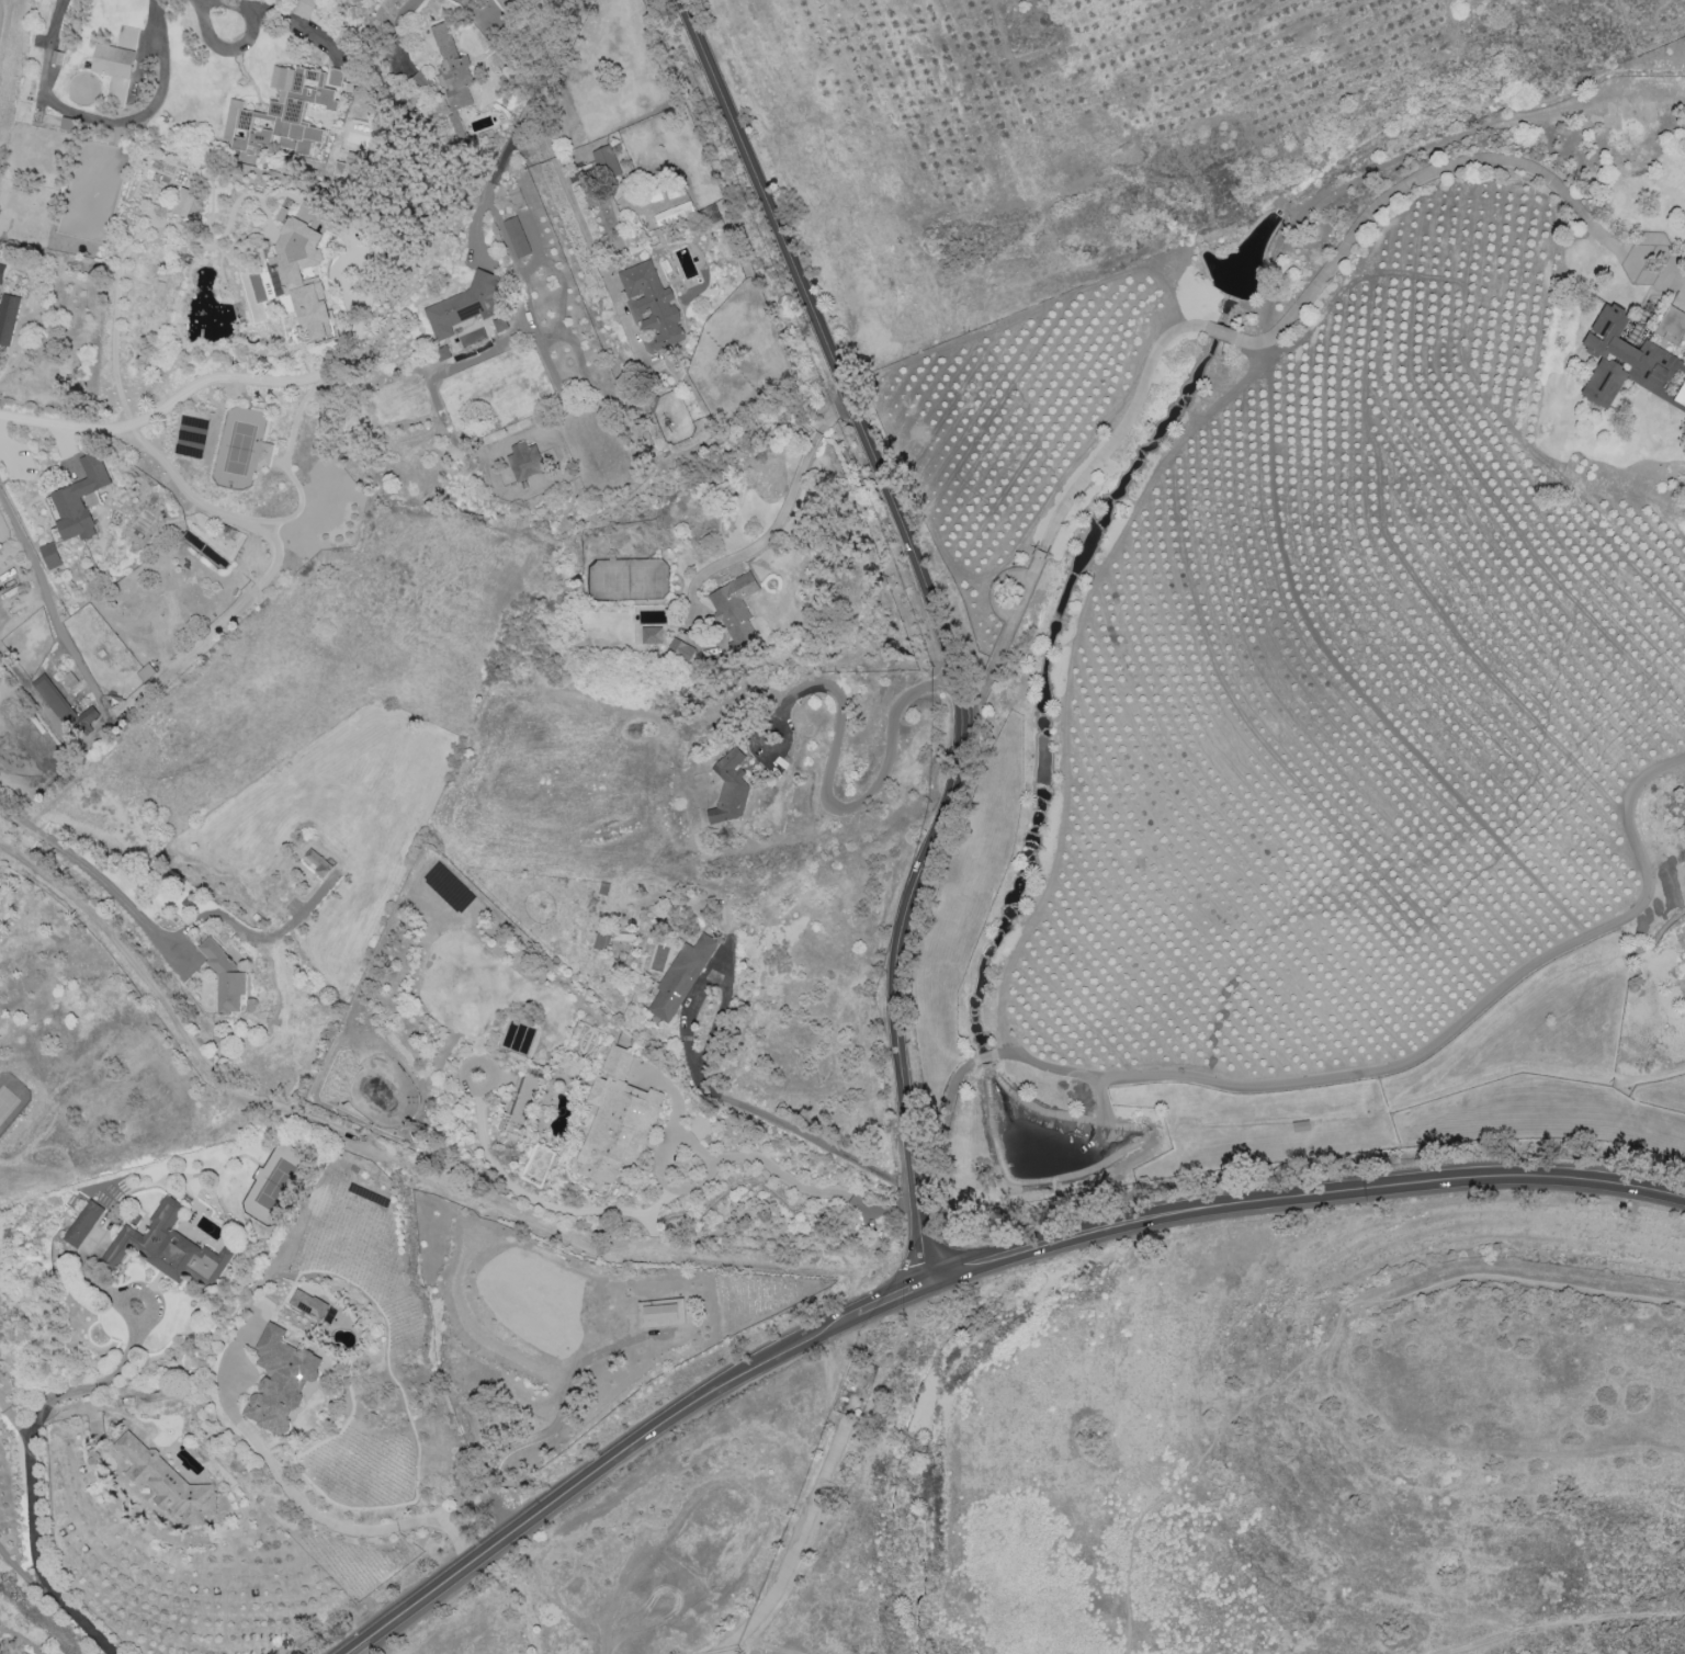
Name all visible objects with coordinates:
building: (304, 8)
road: (280, 15)
road: (227, 47)
road: (557, 49)
building: (112, 60)
building: (452, 66)
building: (336, 76)
building: (280, 112)
road: (104, 120)
building: (607, 161)
building: (351, 167)
road: (495, 177)
road: (575, 207)
building: (516, 237)
building: (1, 271)
building: (291, 276)
building: (464, 304)
building: (653, 305)
building: (8, 317)
building: (500, 324)
building: (1671, 324)
road: (1283, 326)
building: (1625, 360)
road: (218, 379)
building: (1681, 396)
road: (41, 432)
building: (265, 453)
building: (524, 461)
building: (79, 499)
road: (782, 514)
road: (24, 543)
building: (50, 554)
road: (50, 608)
building: (735, 612)
road: (940, 623)
building: (652, 635)
building: (678, 649)
building: (65, 706)
building: (730, 788)
road: (828, 802)
building: (317, 861)
road: (83, 865)
building: (224, 976)
building: (680, 977)
road: (693, 1068)
road: (1345, 1074)
building: (618, 1120)
road: (385, 1156)
road: (739, 1157)
road: (1303, 1198)
building: (83, 1223)
building: (169, 1248)
road: (894, 1299)
building: (308, 1303)
building: (661, 1312)
building: (330, 1314)
road: (1325, 1347)
building: (279, 1380)
road: (97, 1382)
road: (15, 1424)
road: (1483, 1446)
road: (597, 1469)
building: (167, 1482)
road: (316, 1513)
road: (81, 1540)
road: (798, 1548)
road: (43, 1562)
road: (25, 1577)
road: (1562, 1622)
road: (768, 1645)

